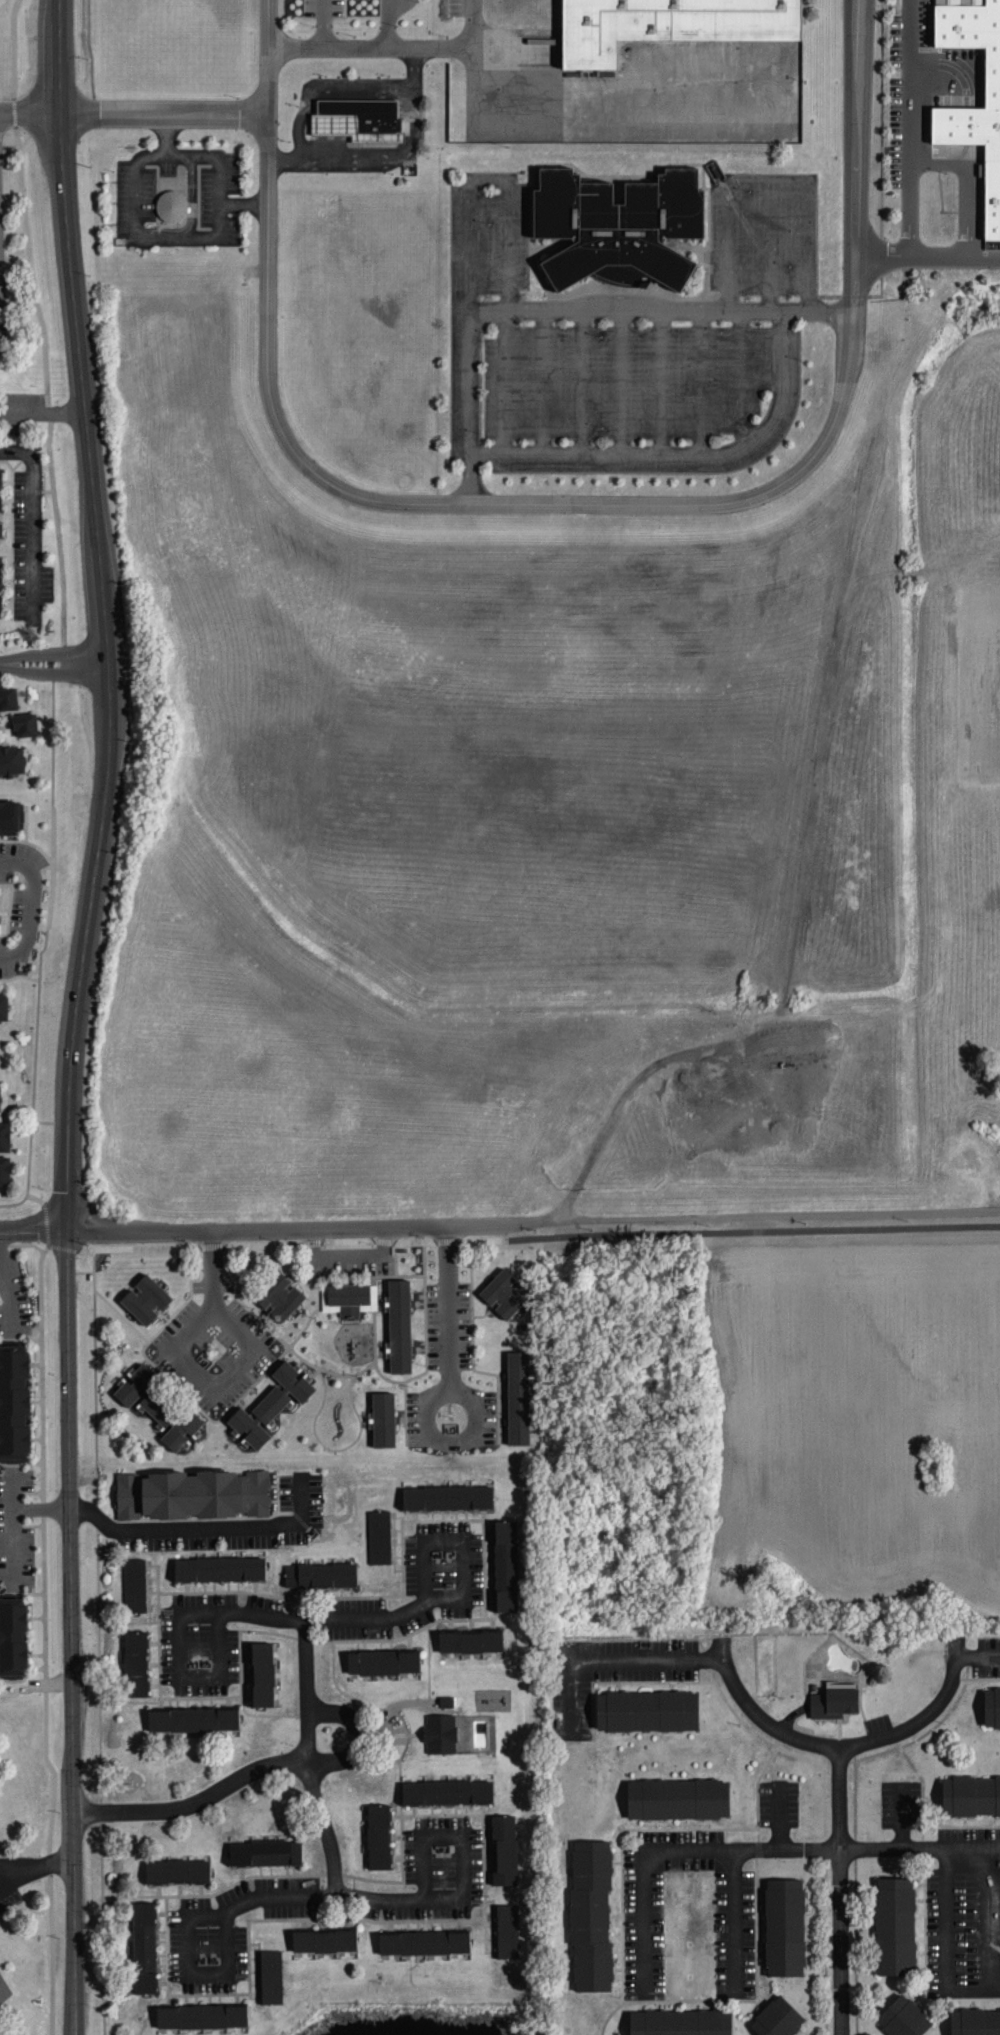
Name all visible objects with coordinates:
road: (324, 23)
road: (388, 23)
building: (660, 26)
road: (394, 45)
road: (60, 57)
road: (326, 85)
road: (410, 85)
road: (910, 92)
road: (412, 104)
road: (30, 113)
road: (165, 114)
building: (352, 118)
building: (966, 120)
road: (164, 132)
road: (368, 149)
road: (769, 180)
road: (490, 181)
road: (242, 198)
building: (171, 207)
road: (909, 219)
road: (216, 223)
building: (617, 226)
road: (770, 244)
road: (927, 253)
road: (267, 265)
road: (661, 308)
parking lot: (628, 346)
road: (741, 375)
road: (504, 380)
road: (544, 380)
road: (583, 380)
road: (622, 380)
road: (662, 380)
road: (701, 381)
road: (470, 405)
road: (684, 453)
road: (810, 461)
road: (32, 520)
road: (54, 664)
building: (8, 701)
building: (24, 728)
building: (11, 760)
building: (9, 821)
road: (33, 904)
building: (3, 1006)
road: (37, 1021)
road: (72, 1072)
road: (603, 1133)
building: (5, 1154)
road: (532, 1221)
road: (32, 1232)
road: (520, 1238)
road: (348, 1261)
road: (7, 1283)
building: (504, 1293)
building: (279, 1295)
building: (346, 1296)
building: (145, 1297)
building: (399, 1325)
road: (188, 1366)
road: (447, 1393)
building: (518, 1396)
building: (271, 1404)
building: (159, 1405)
building: (13, 1409)
building: (384, 1418)
building: (191, 1493)
building: (448, 1496)
road: (42, 1506)
road: (205, 1526)
road: (15, 1528)
building: (379, 1536)
building: (505, 1564)
building: (218, 1568)
building: (320, 1571)
building: (134, 1584)
road: (316, 1620)
building: (471, 1640)
building: (11, 1644)
road: (978, 1658)
building: (383, 1661)
road: (615, 1662)
building: (135, 1663)
building: (262, 1673)
building: (833, 1702)
building: (991, 1705)
building: (647, 1710)
road: (759, 1716)
road: (925, 1717)
building: (192, 1718)
building: (440, 1732)
road: (357, 1734)
road: (308, 1761)
building: (446, 1791)
building: (970, 1795)
building: (678, 1798)
road: (195, 1803)
building: (378, 1835)
building: (504, 1848)
road: (749, 1851)
building: (264, 1853)
road: (36, 1868)
building: (177, 1870)
road: (840, 1892)
road: (331, 1898)
building: (590, 1912)
road: (947, 1920)
road: (991, 1920)
road: (734, 1924)
building: (783, 1925)
building: (895, 1925)
building: (507, 1930)
building: (323, 1939)
building: (423, 1941)
building: (144, 1947)
building: (271, 1976)
building: (3, 1987)
road: (973, 1992)
building: (201, 2015)
building: (903, 2017)
building: (777, 2018)
building: (975, 2022)
building: (679, 2023)

